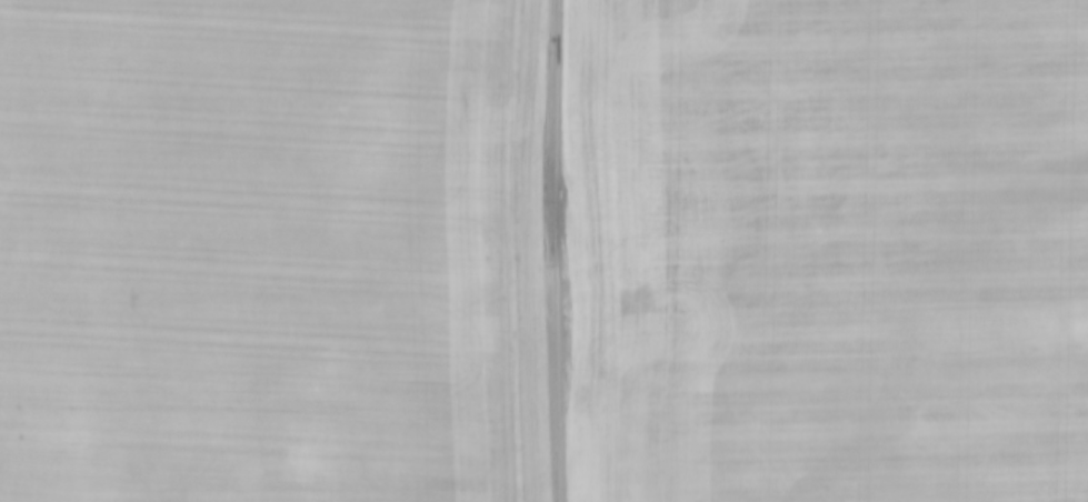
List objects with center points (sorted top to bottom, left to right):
road: (560, 251)

